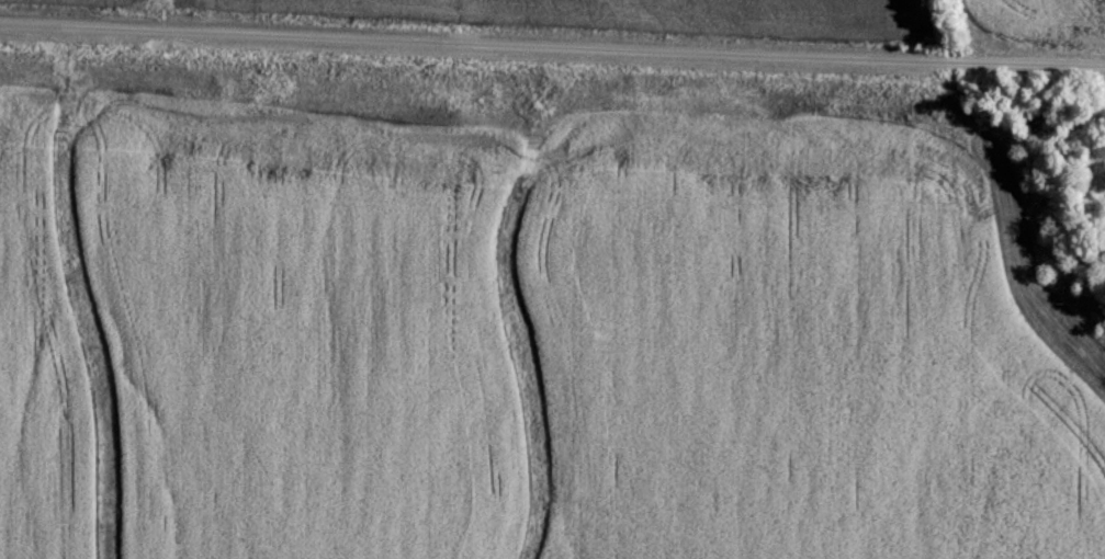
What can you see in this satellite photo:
road: (552, 46)

